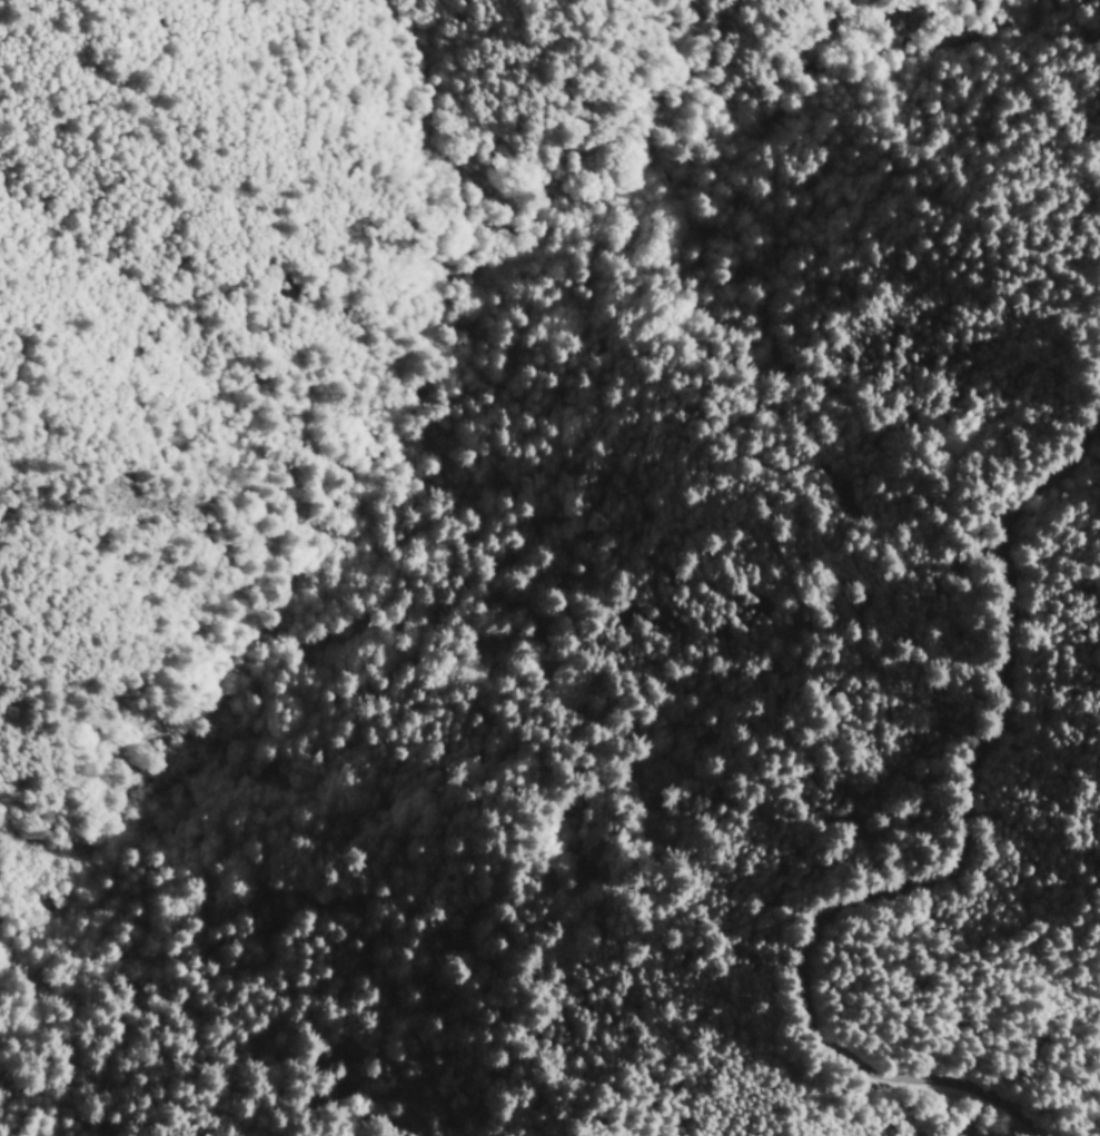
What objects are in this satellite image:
road: (914, 813)

